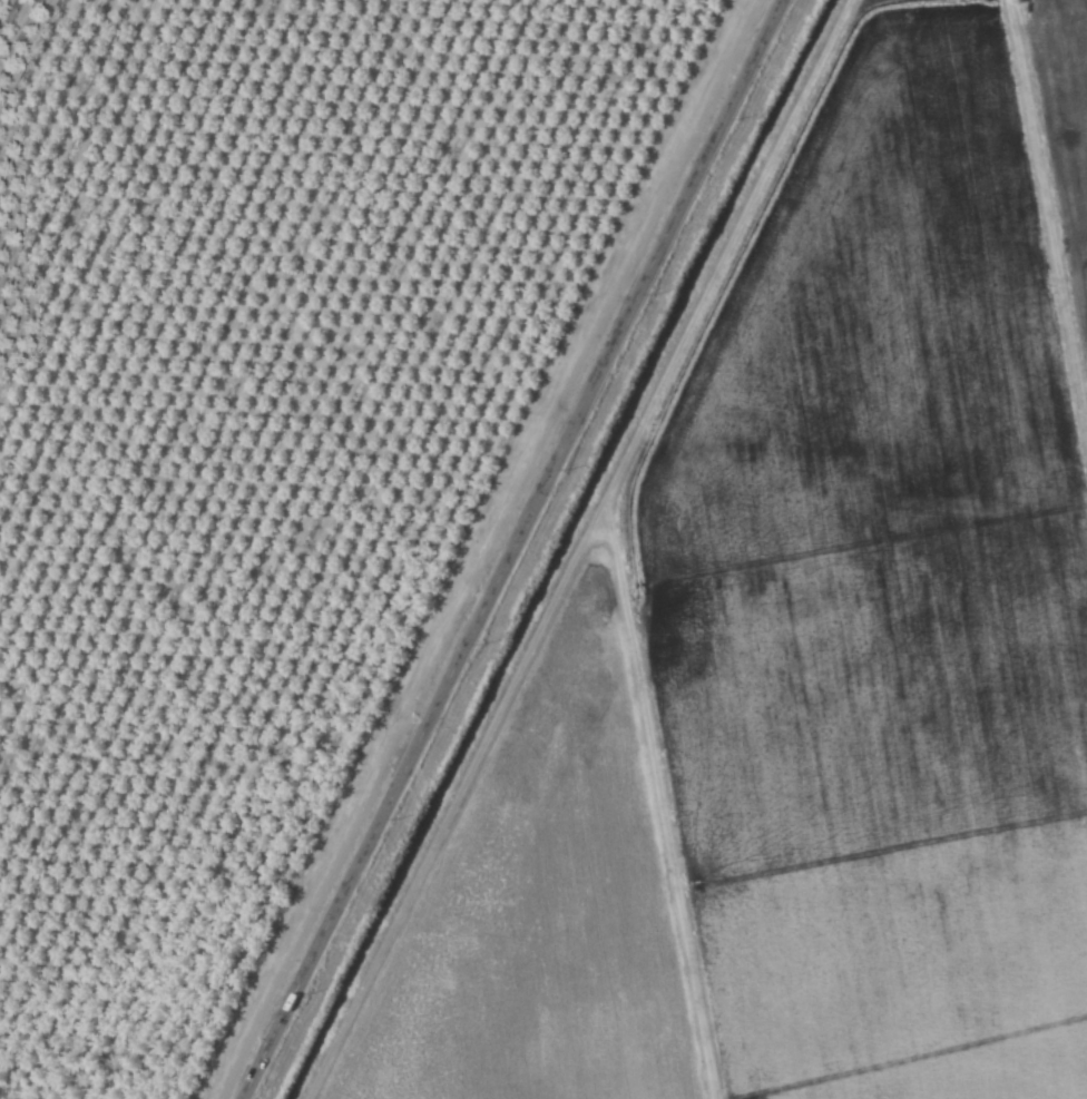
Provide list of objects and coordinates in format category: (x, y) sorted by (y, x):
road: (519, 550)

